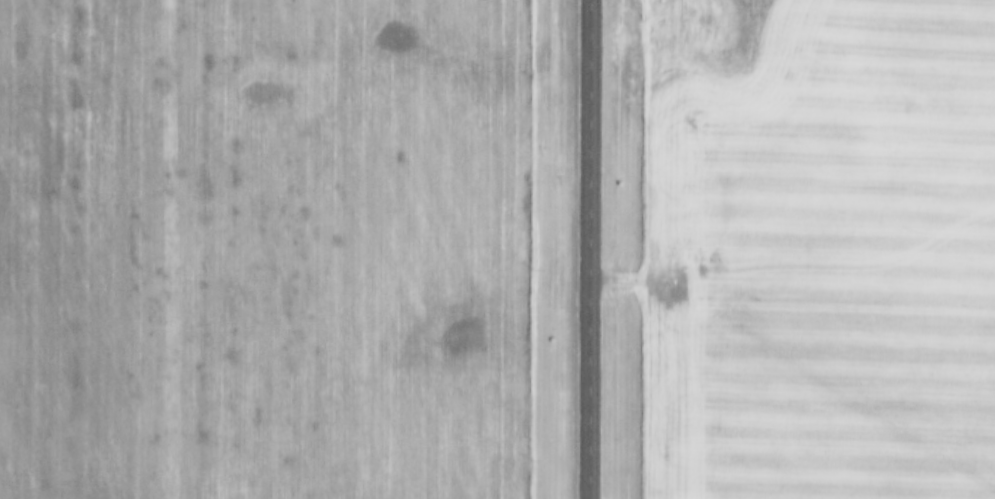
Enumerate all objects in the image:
road: (589, 249)

